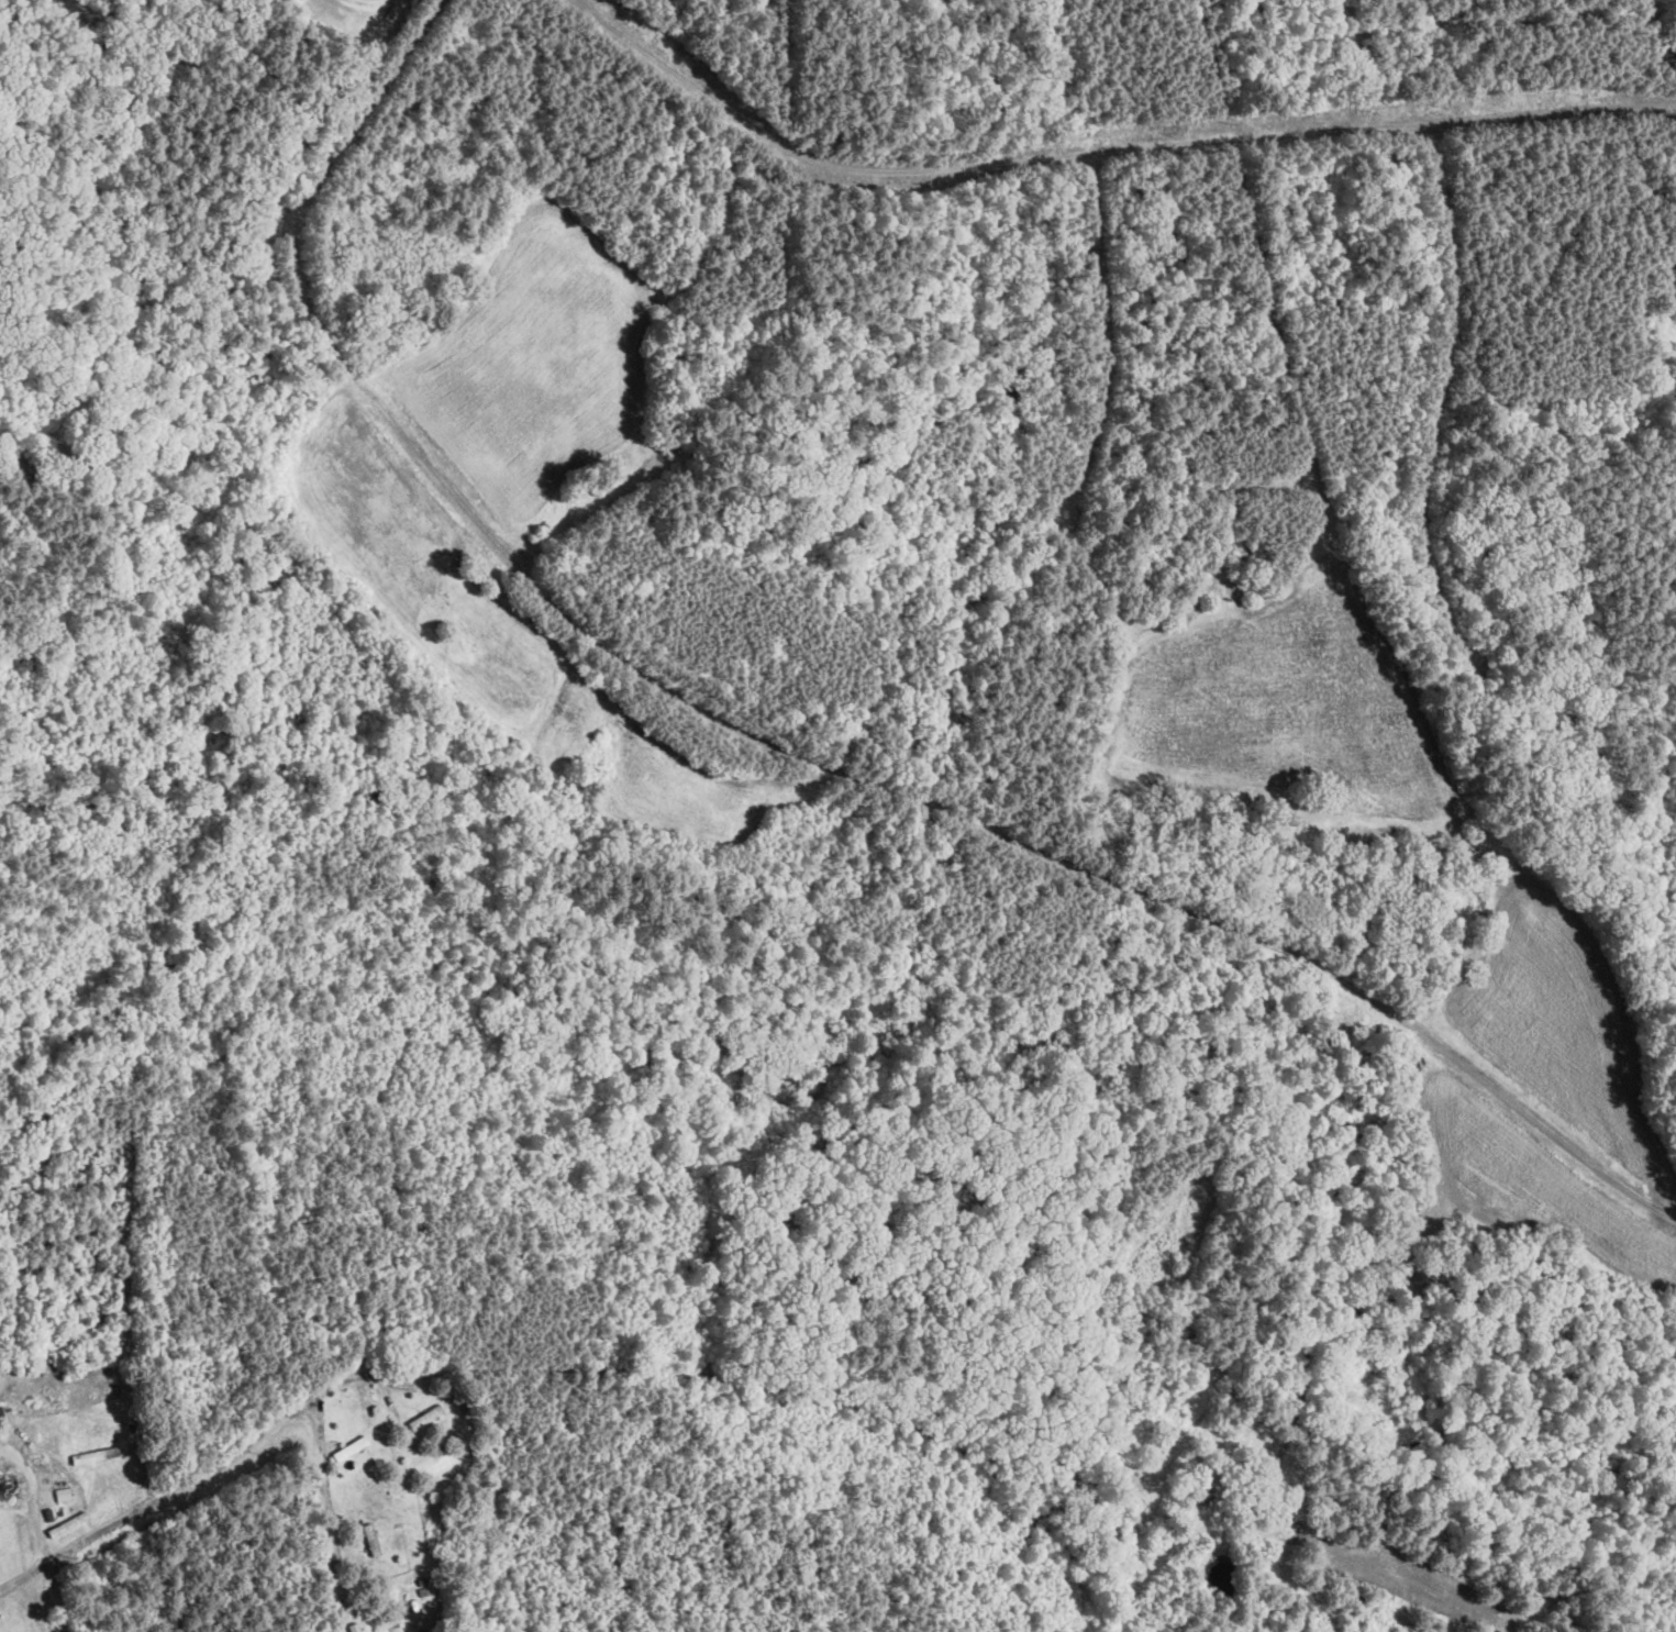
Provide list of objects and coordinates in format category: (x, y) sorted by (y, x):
road: (1097, 156)
road: (786, 748)
road: (720, 1379)
building: (425, 1419)
building: (351, 1450)
building: (114, 1451)
building: (8, 1489)
road: (326, 1492)
building: (1200, 1495)
building: (370, 1540)
road: (1114, 1581)
building: (354, 1628)

